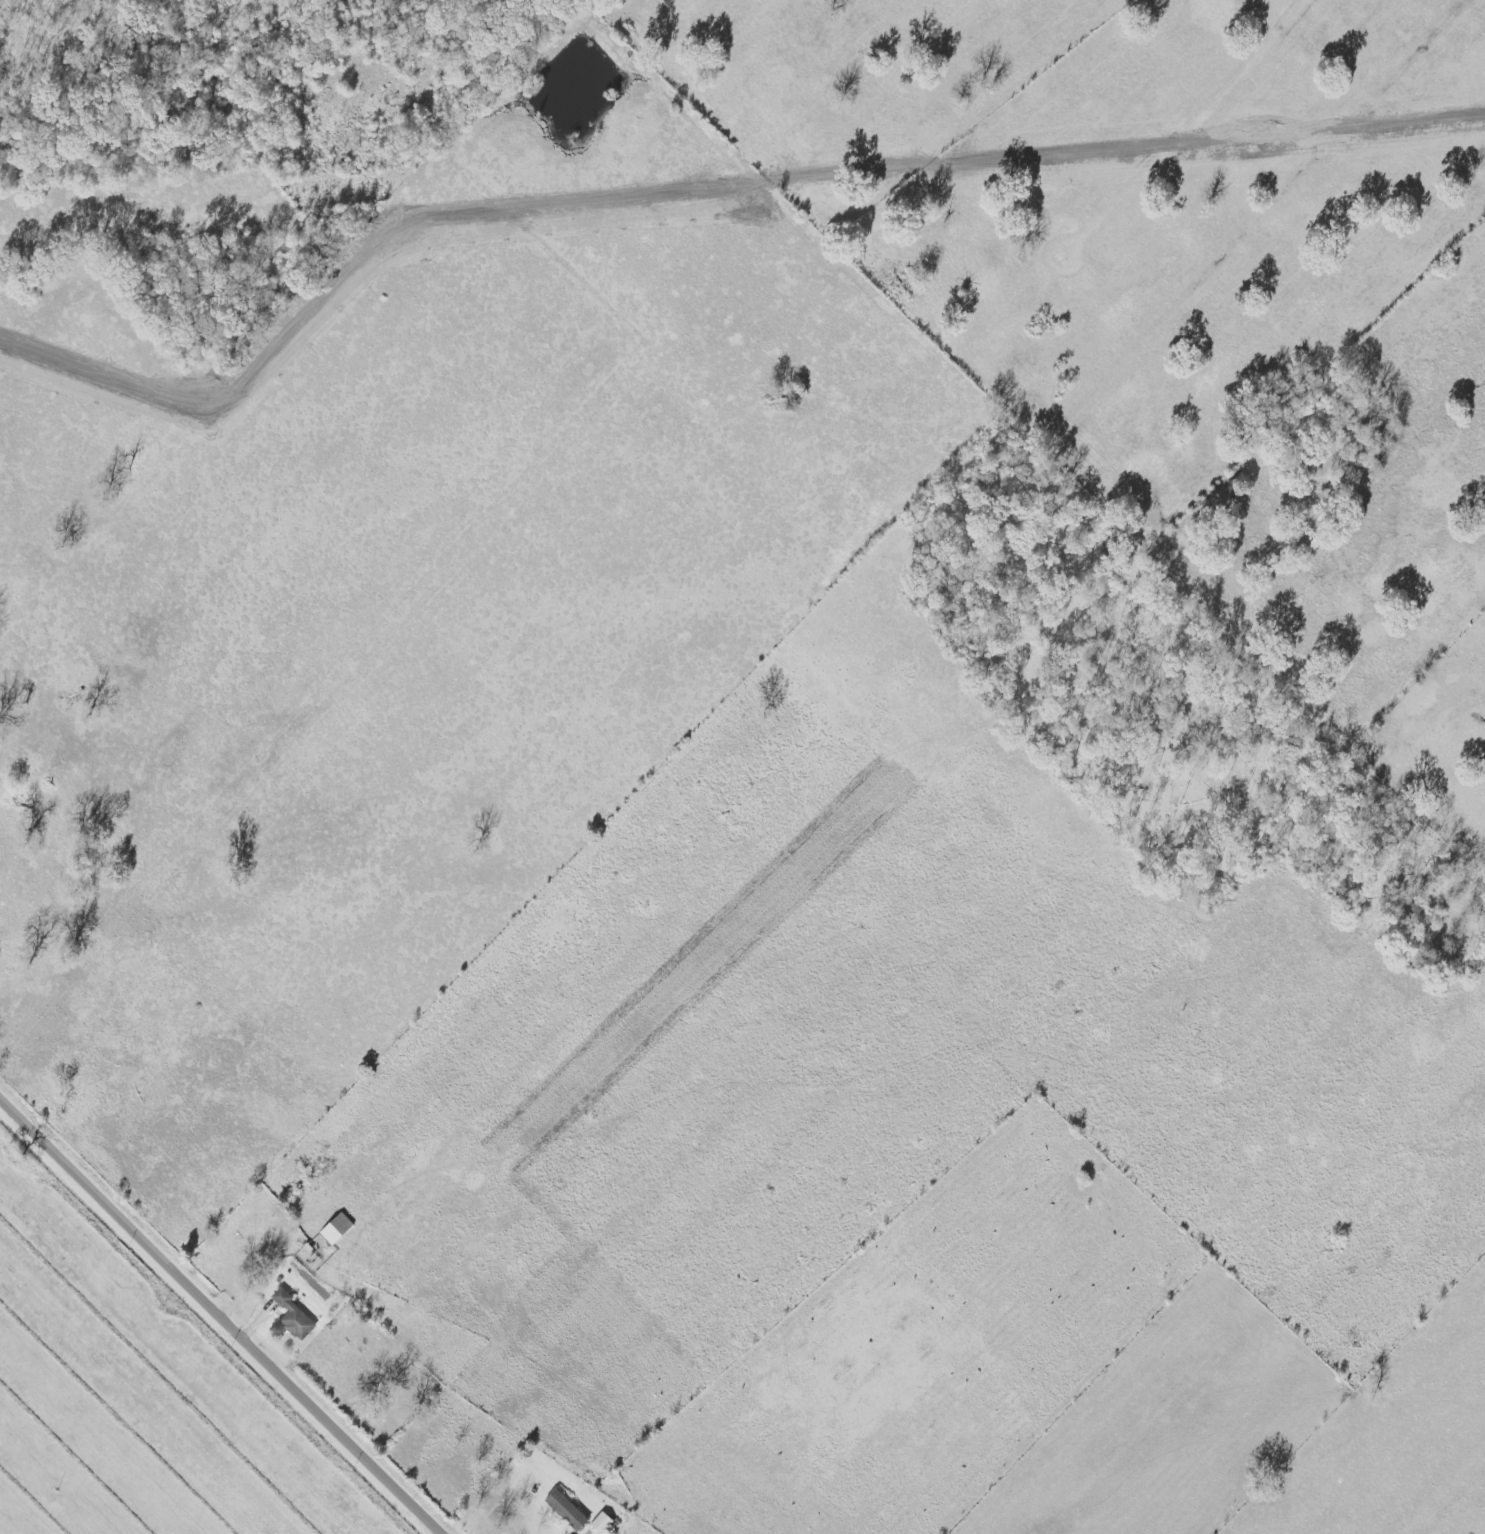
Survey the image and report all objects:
building: (338, 1230)
road: (221, 1315)
building: (295, 1317)
building: (569, 1510)
building: (603, 1523)

